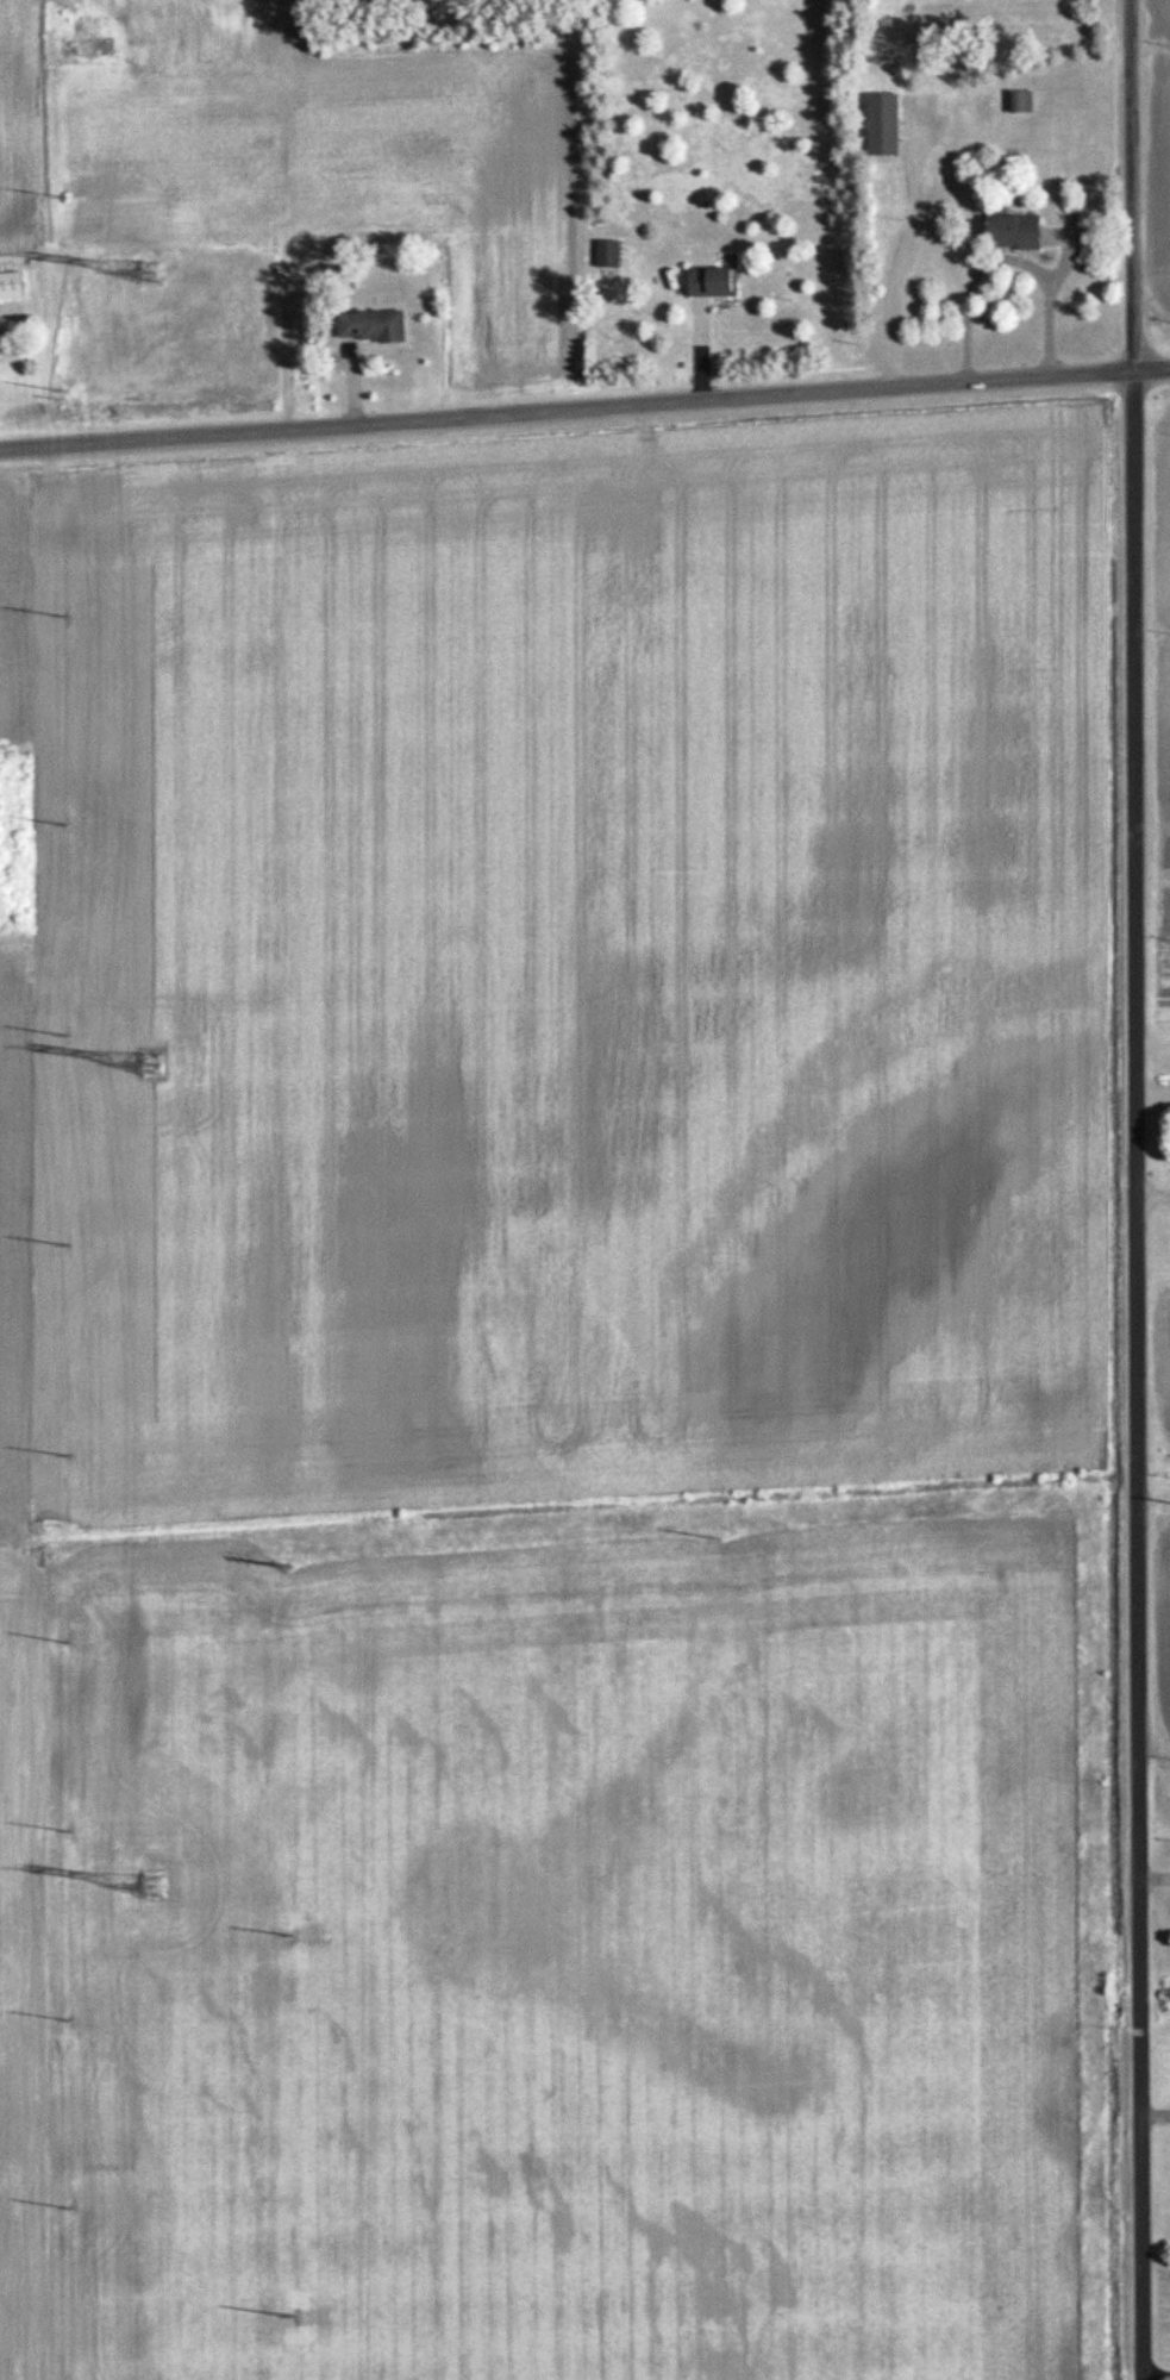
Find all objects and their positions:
building: (1028, 101)
building: (891, 124)
power tower: (69, 194)
building: (1026, 229)
building: (614, 252)
road: (901, 256)
power tower: (152, 270)
building: (719, 281)
building: (14, 286)
building: (377, 325)
road: (701, 351)
road: (352, 383)
power tower: (69, 389)
road: (584, 408)
power tower: (69, 617)
power tower: (70, 824)
power tower: (70, 1036)
power tower: (152, 1066)
road: (1128, 1189)
power tower: (74, 1245)
power tower: (70, 1455)
power tower: (731, 1536)
power tower: (293, 1563)
power tower: (70, 1643)
power tower: (69, 1831)
power tower: (152, 1887)
power tower: (293, 1934)
power tower: (69, 2018)
power tower: (70, 2209)
power tower: (293, 2313)
road: (1149, 2369)

